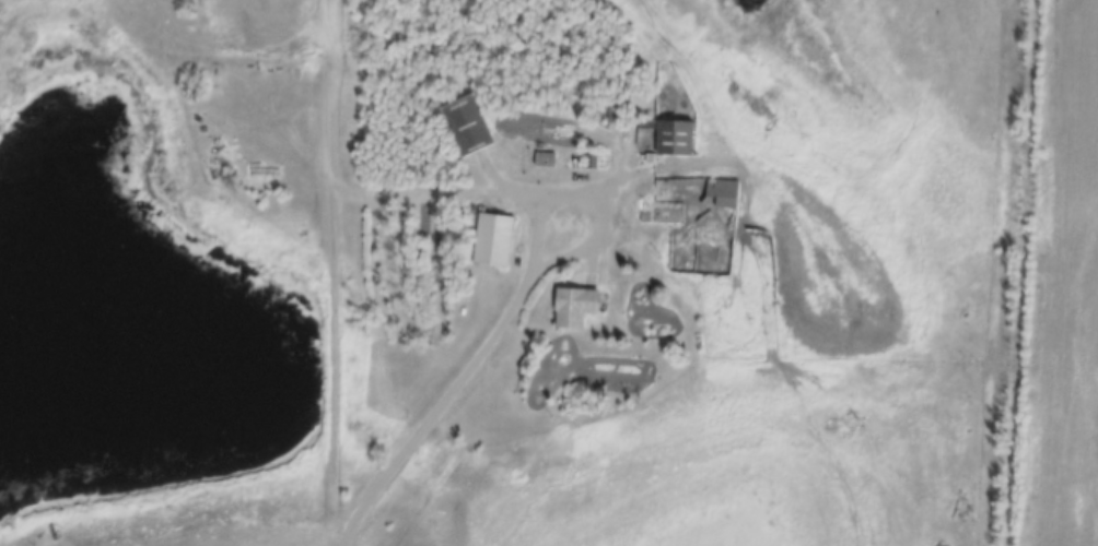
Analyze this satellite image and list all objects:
building: (614, 107)
building: (465, 124)
building: (670, 135)
building: (722, 191)
road: (435, 198)
road: (592, 201)
building: (666, 214)
building: (492, 239)
road: (331, 272)
building: (573, 306)
road: (436, 413)

